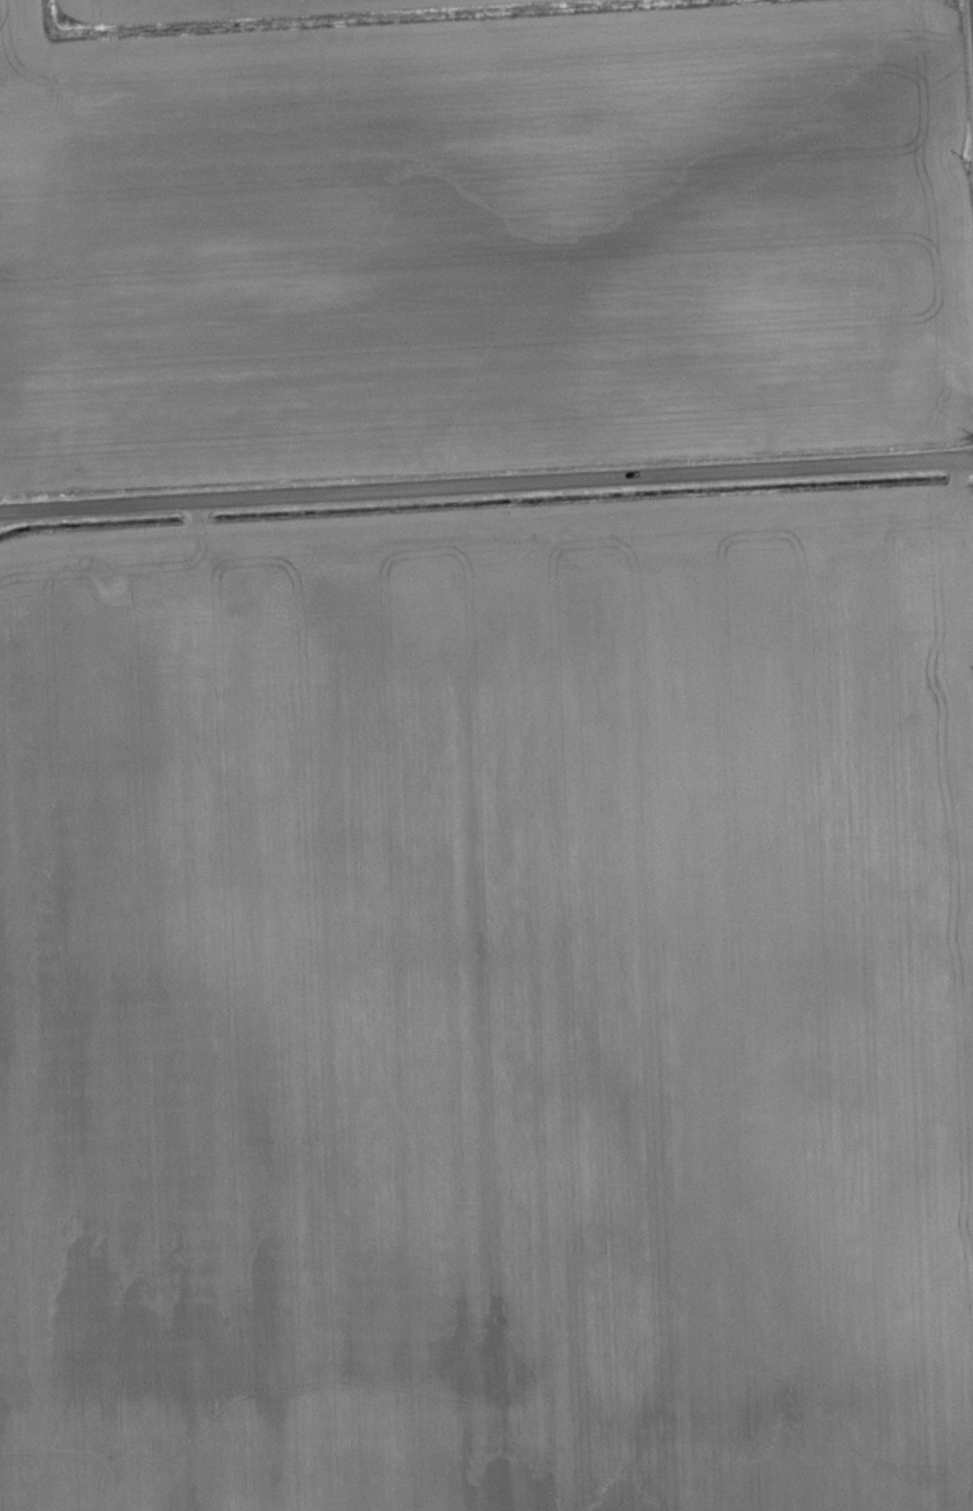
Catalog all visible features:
road: (972, 14)
road: (486, 485)

